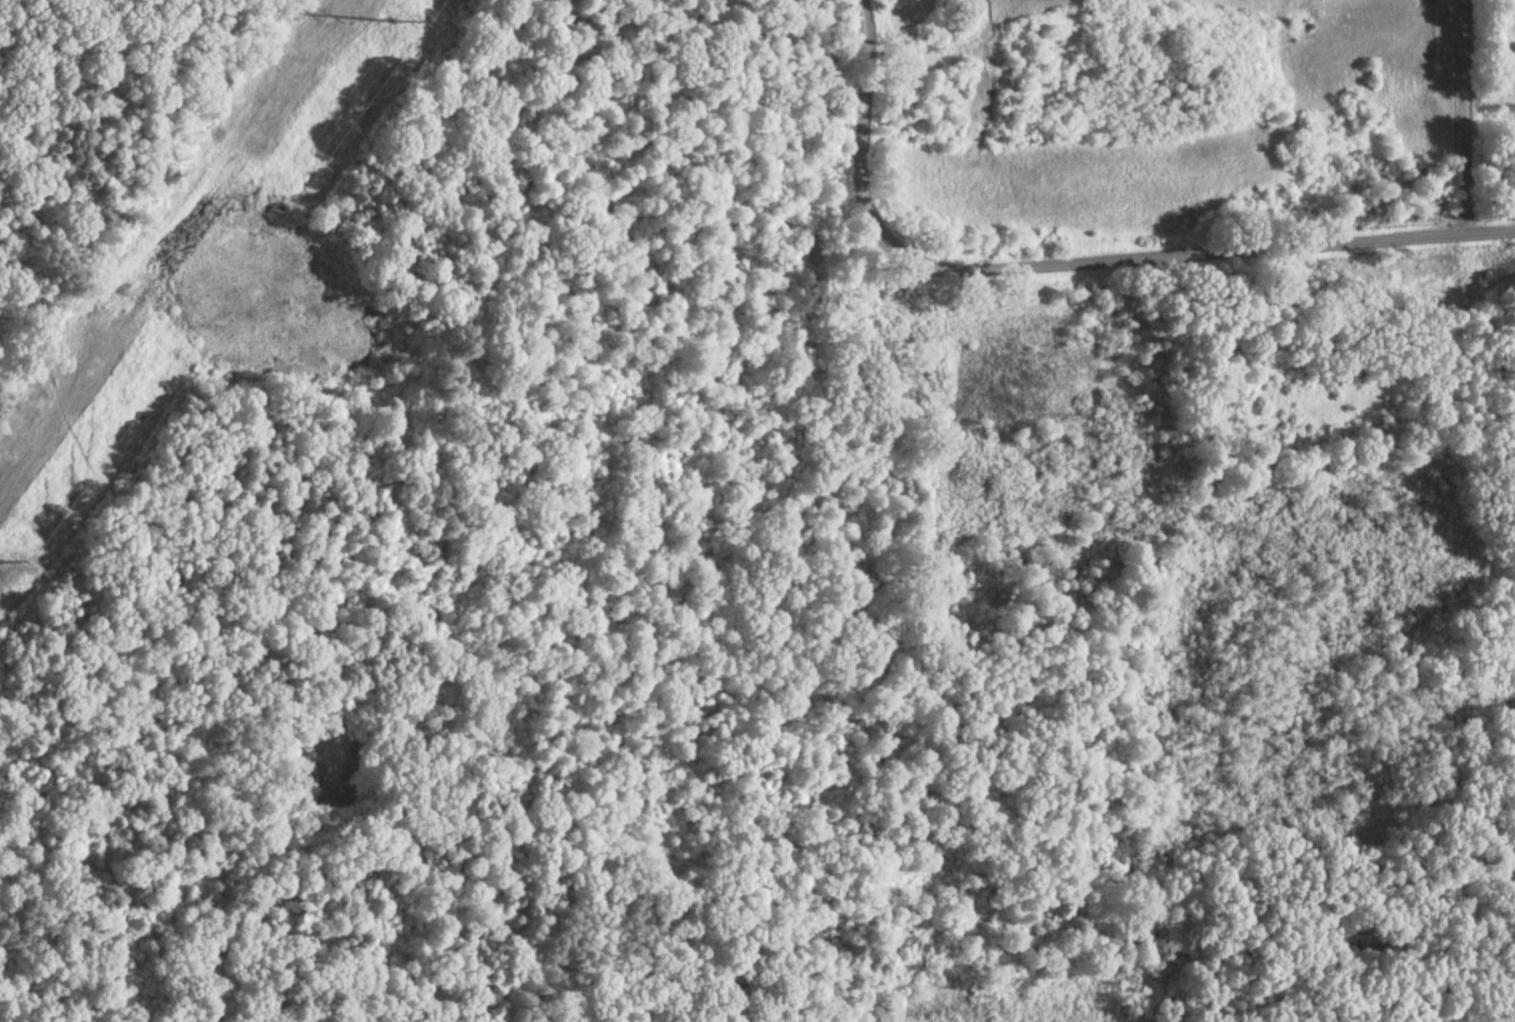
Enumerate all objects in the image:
power tower: (397, 19)
road: (22, 31)
road: (1465, 116)
road: (1073, 263)
road: (444, 539)
park: (688, 559)
power tower: (1, 567)
road: (268, 598)
road: (42, 845)

